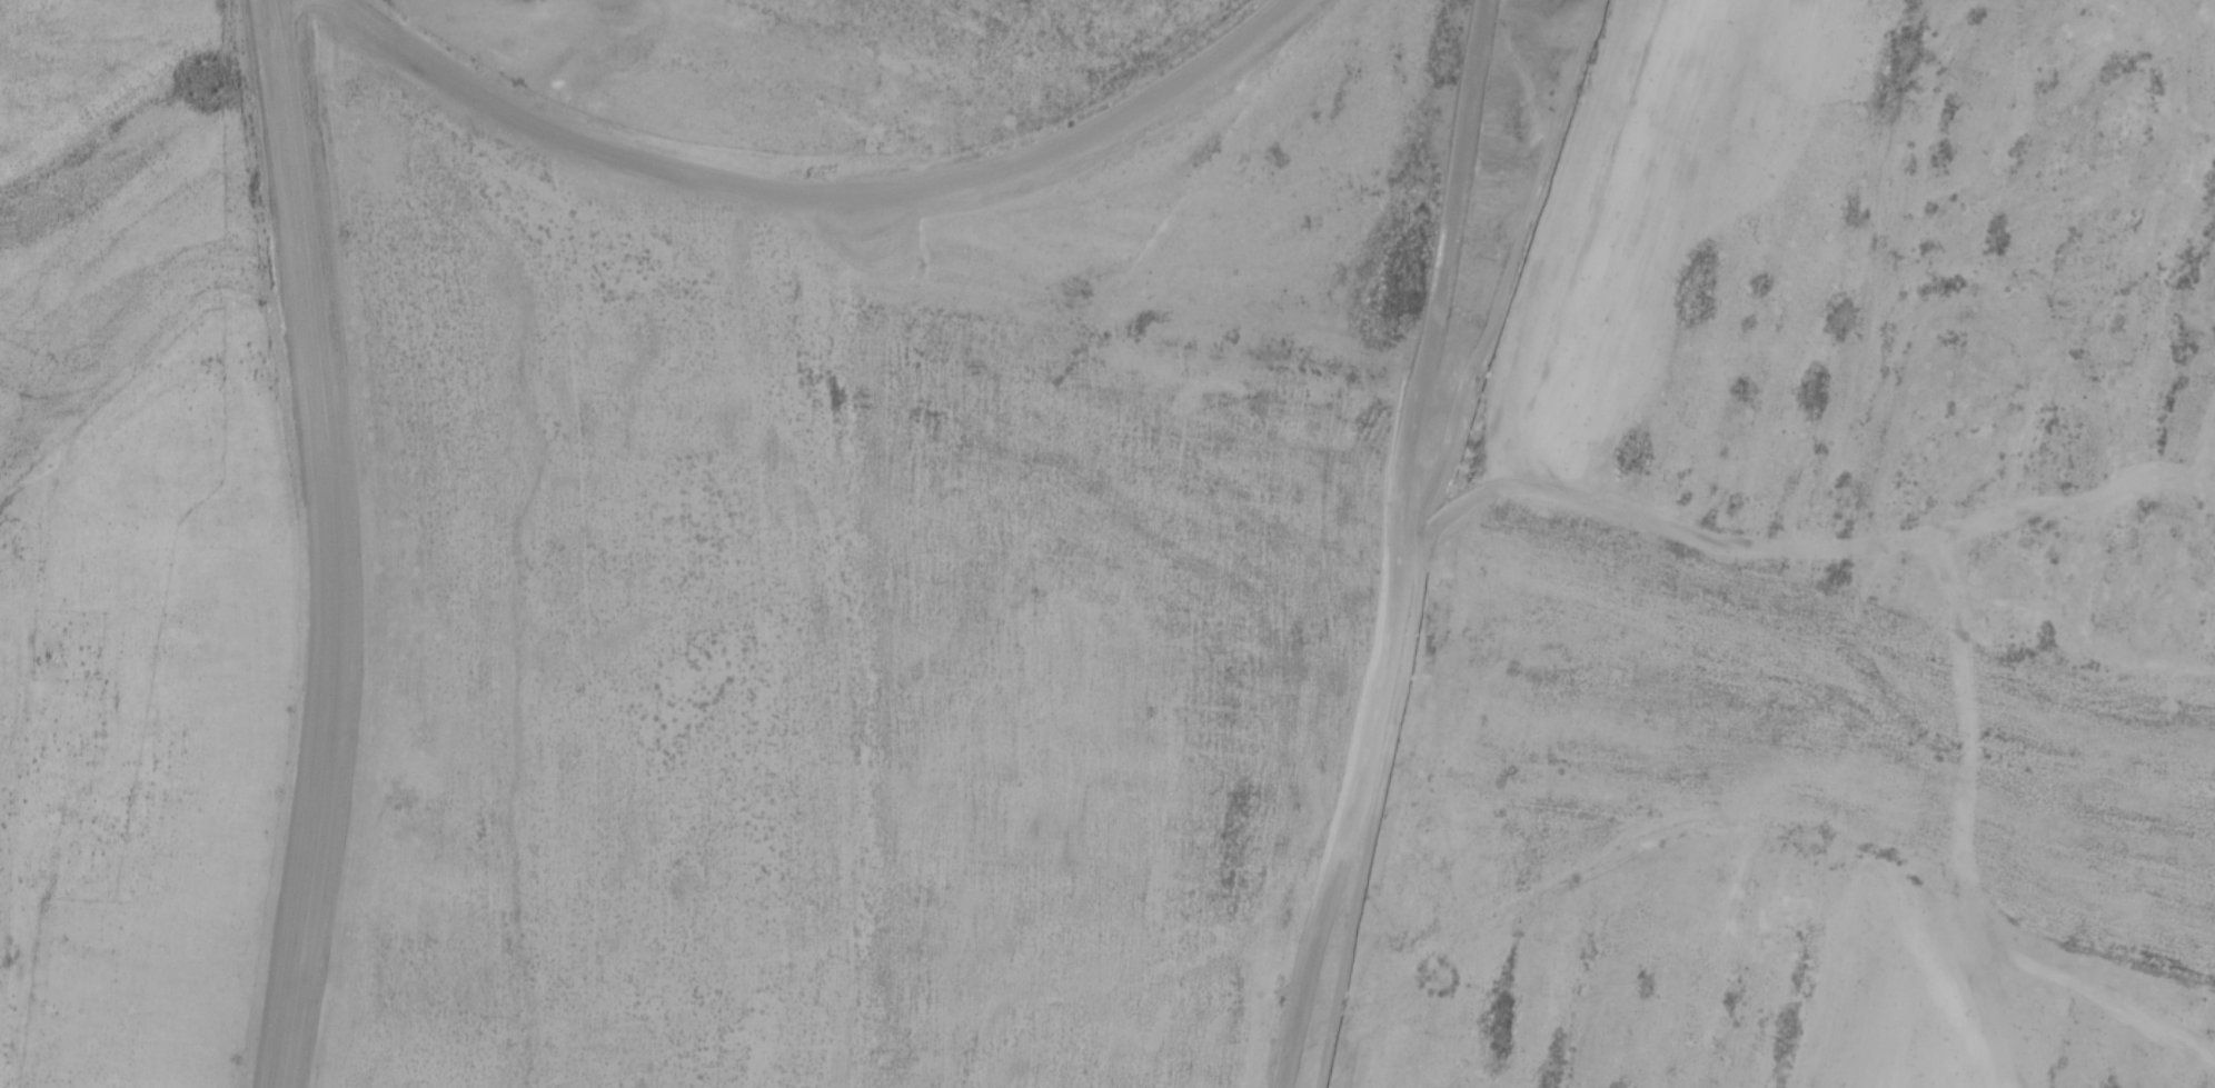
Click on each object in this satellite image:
road: (159, 223)
quarry: (1314, 583)
road: (130, 767)

